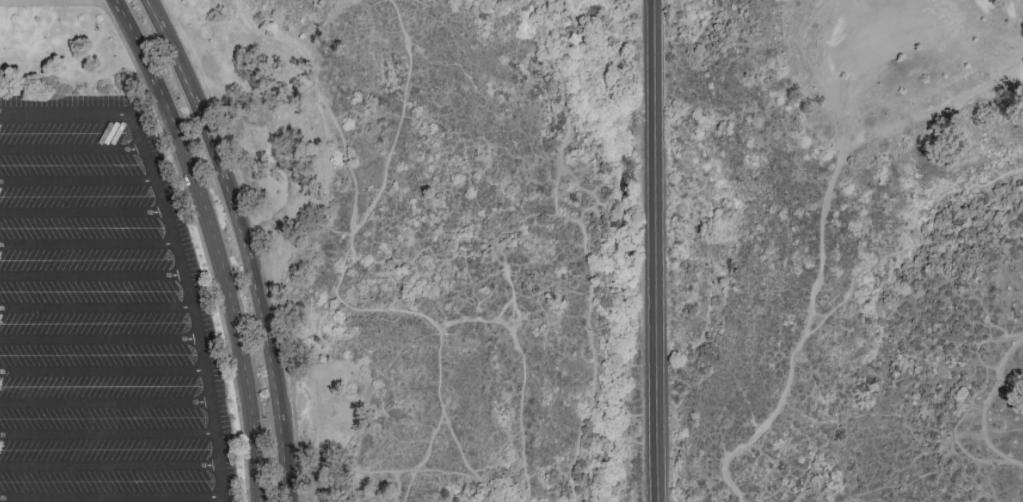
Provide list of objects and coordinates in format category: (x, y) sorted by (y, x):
road: (50, 1)
road: (324, 98)
road: (928, 107)
road: (563, 108)
road: (73, 148)
road: (79, 181)
road: (370, 206)
road: (85, 212)
road: (177, 240)
road: (202, 242)
road: (217, 242)
road: (242, 243)
road: (89, 246)
road: (908, 249)
park: (511, 251)
road: (658, 251)
road: (94, 277)
road: (509, 282)
road: (97, 311)
parking lot: (103, 315)
road: (587, 321)
road: (797, 342)
road: (100, 343)
road: (103, 373)
road: (524, 377)
road: (105, 406)
road: (985, 407)
road: (449, 426)
road: (108, 437)
road: (418, 461)
road: (109, 468)
road: (161, 501)

